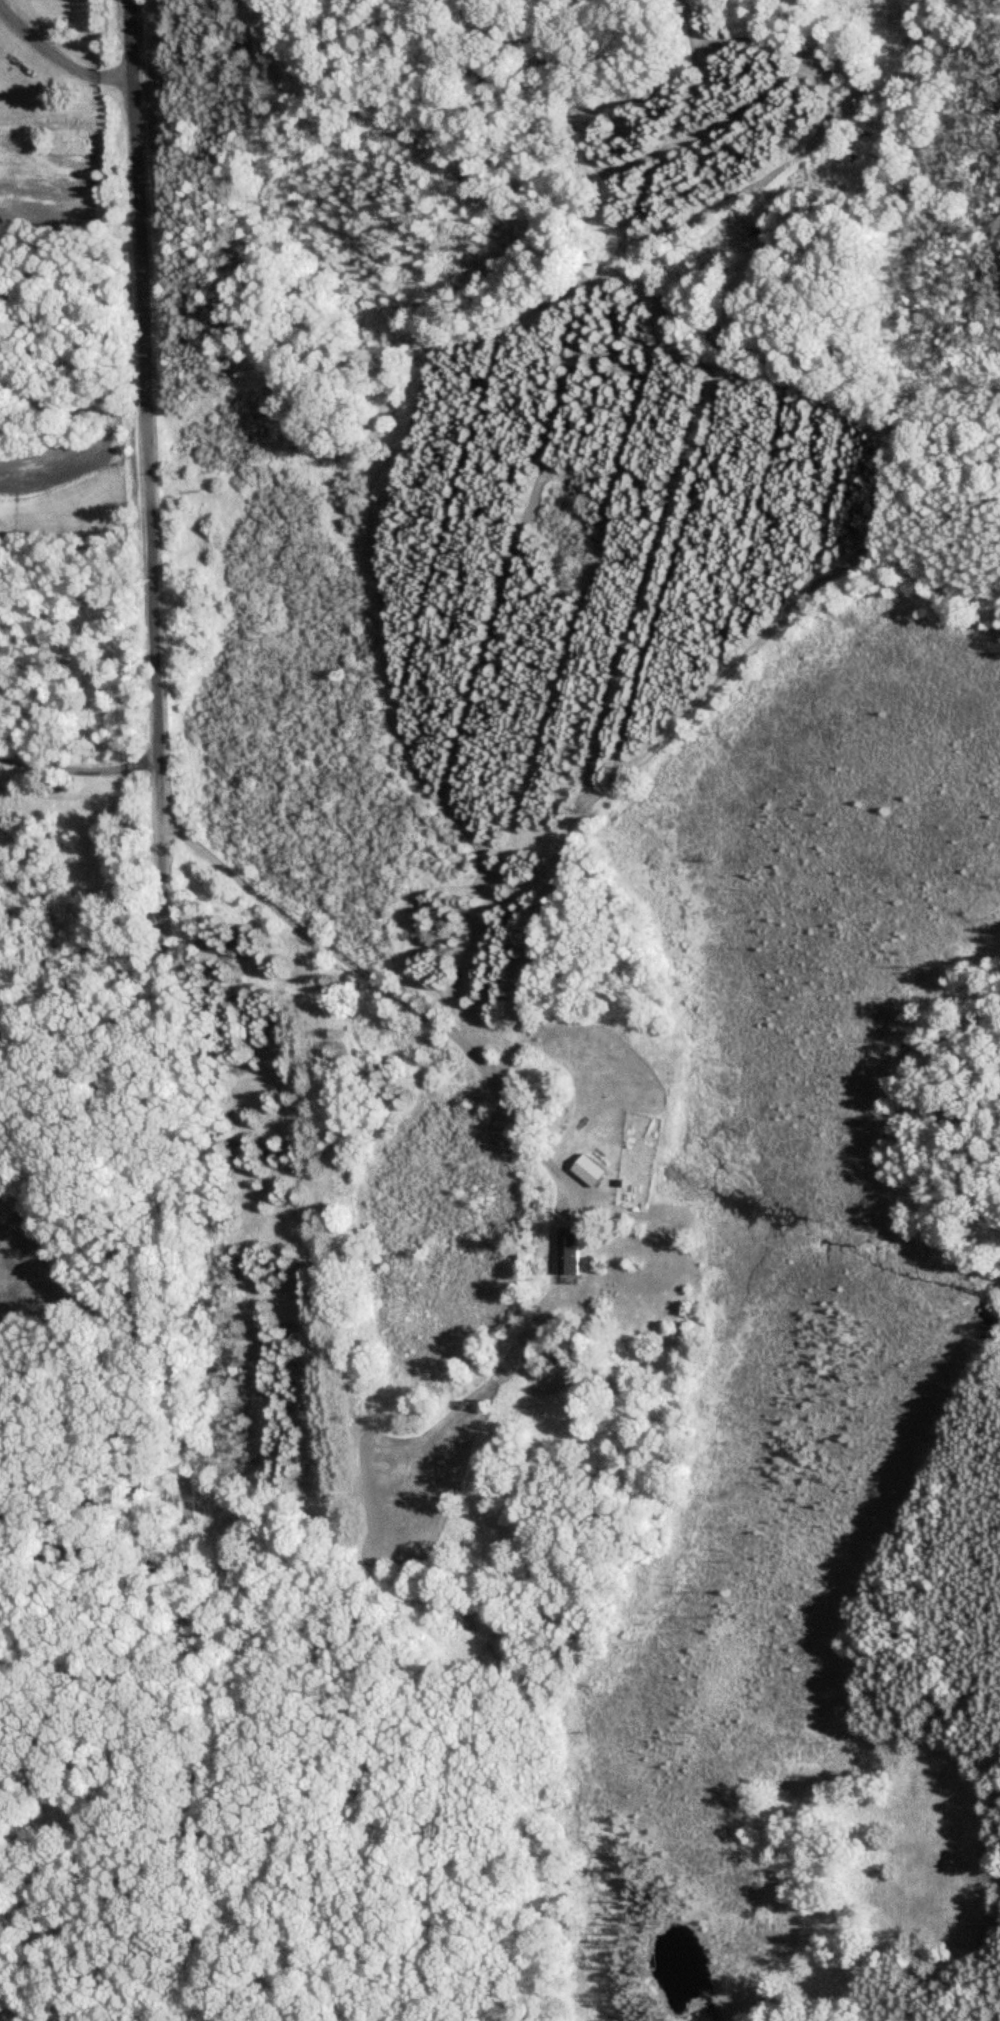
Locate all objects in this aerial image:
road: (61, 57)
road: (81, 769)
road: (390, 989)
road: (166, 1011)
building: (588, 1170)
building: (569, 1252)

